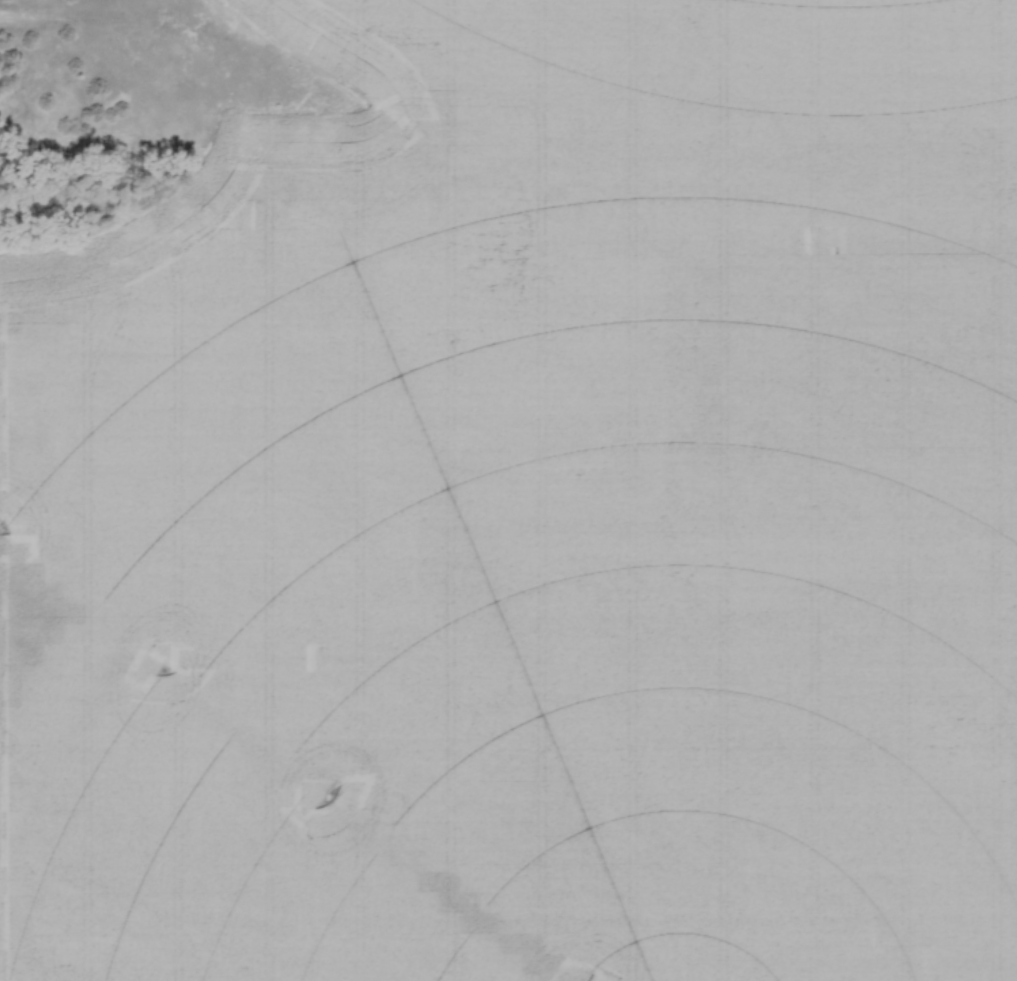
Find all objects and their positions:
power tower: (333, 798)

